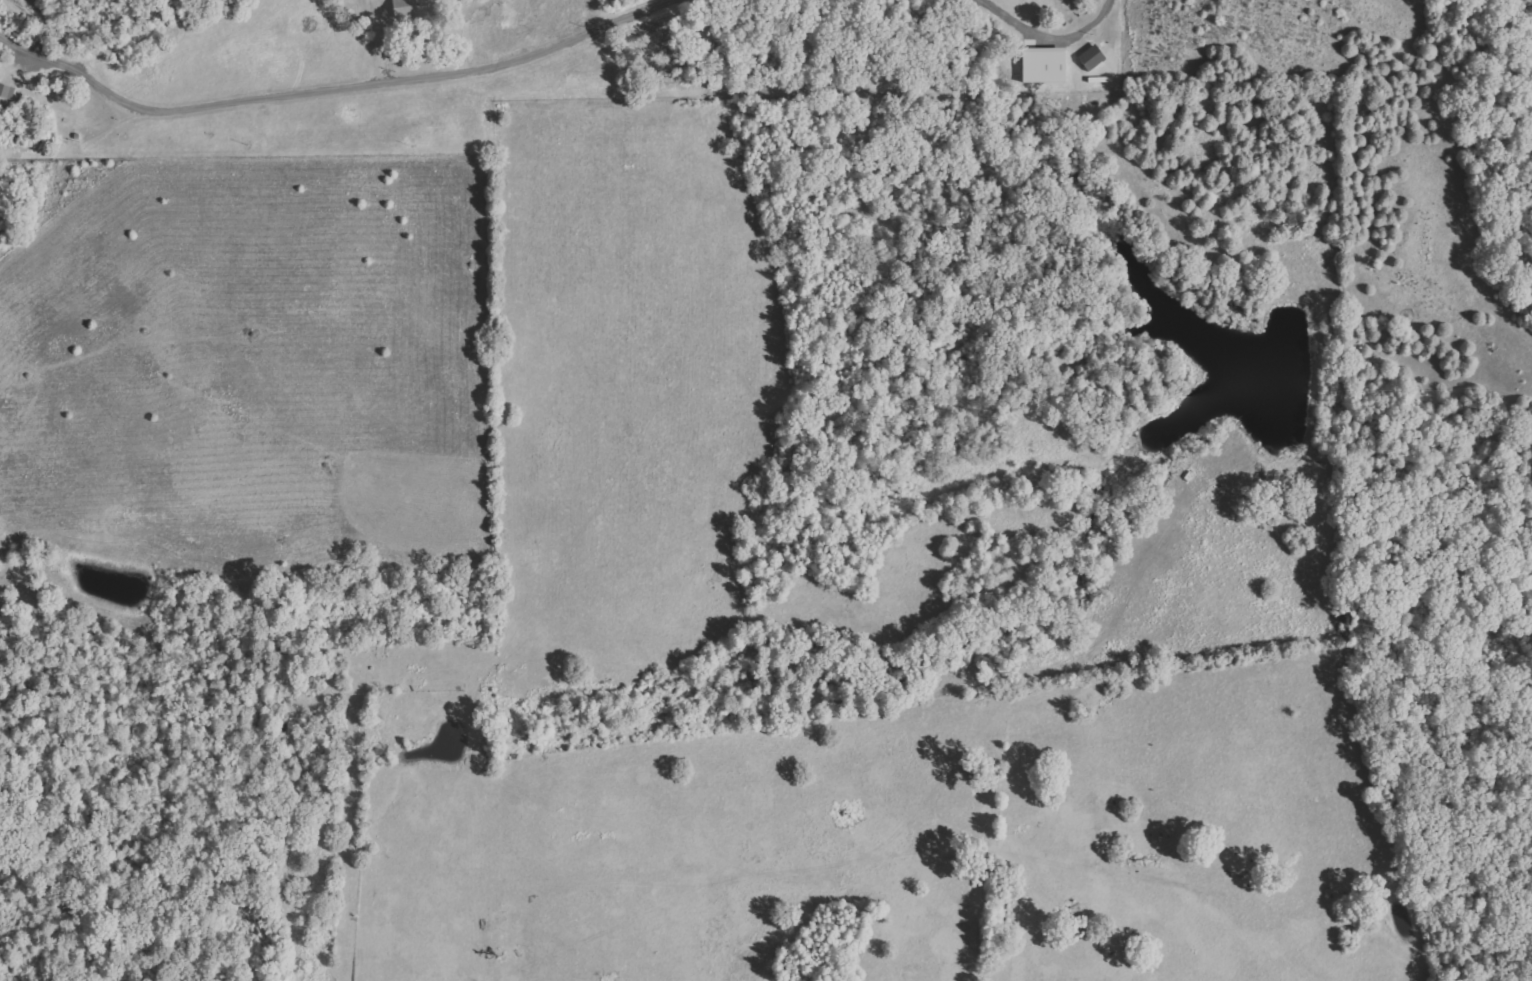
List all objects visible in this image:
building: (407, 8)
building: (1094, 57)
building: (7, 91)
road: (236, 362)

